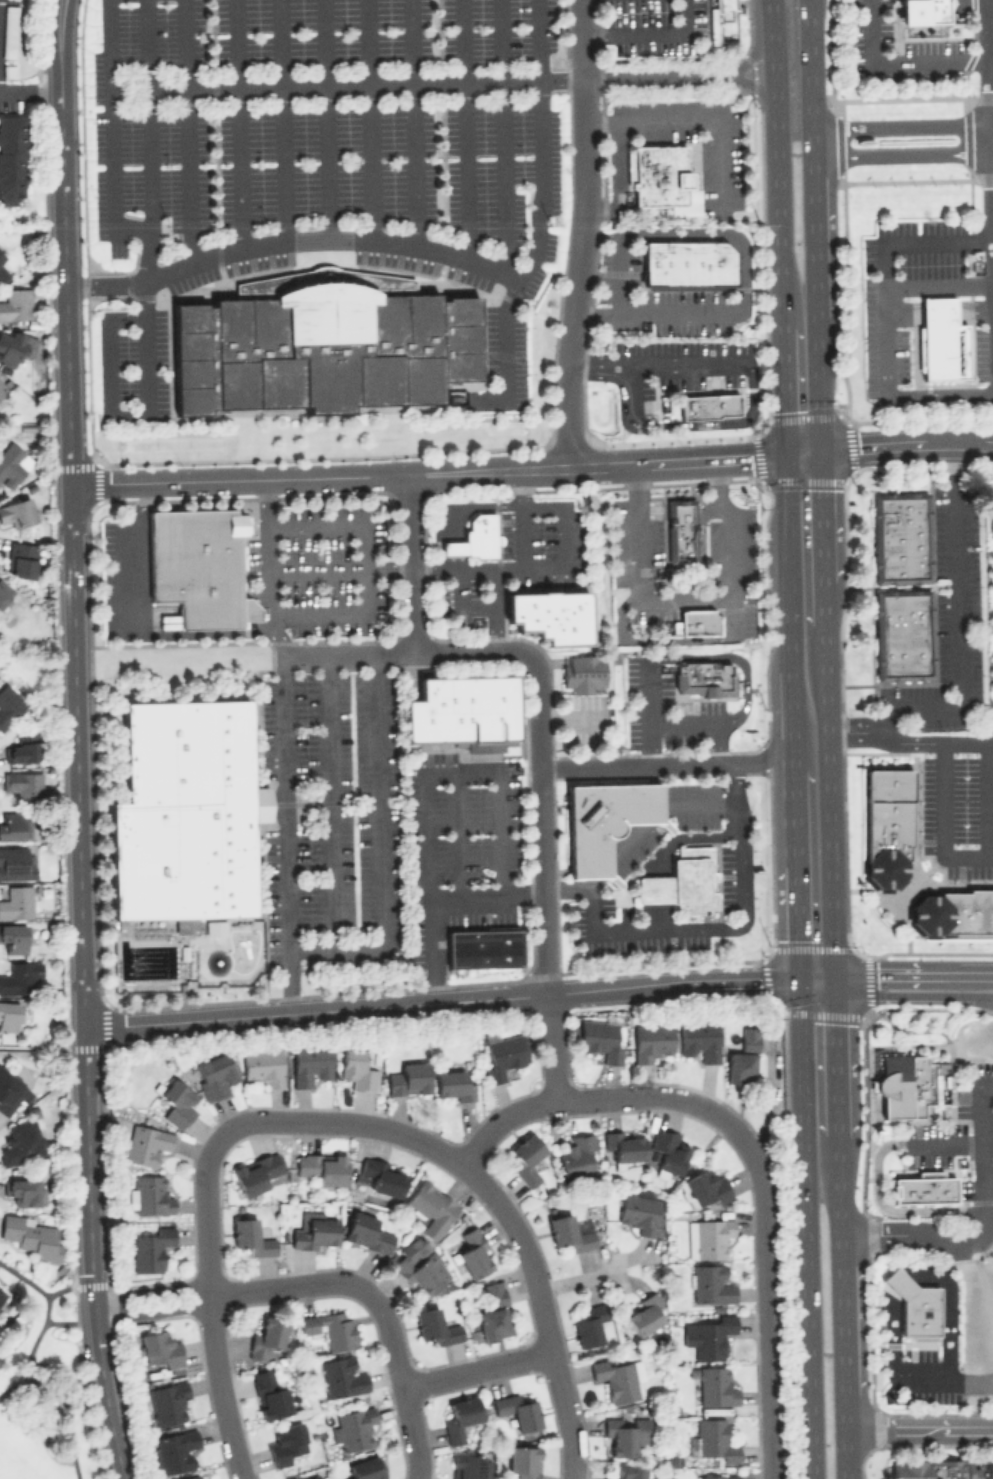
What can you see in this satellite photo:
building: (921, 11)
building: (723, 20)
building: (9, 32)
road: (648, 32)
road: (538, 40)
road: (409, 41)
road: (757, 47)
parking lot: (897, 49)
road: (902, 60)
road: (989, 62)
building: (8, 71)
road: (651, 78)
road: (810, 78)
road: (340, 84)
road: (29, 88)
road: (187, 92)
road: (763, 94)
road: (698, 118)
road: (281, 120)
road: (326, 120)
road: (370, 120)
road: (992, 123)
road: (238, 124)
road: (901, 126)
road: (465, 131)
parking lot: (328, 136)
road: (505, 137)
road: (903, 155)
road: (149, 158)
building: (12, 159)
road: (776, 163)
road: (413, 165)
road: (111, 174)
road: (615, 177)
building: (661, 178)
road: (991, 181)
road: (539, 182)
road: (583, 233)
road: (684, 234)
road: (814, 236)
road: (341, 241)
building: (1, 256)
building: (688, 263)
building: (1, 268)
road: (939, 283)
parking lot: (900, 287)
building: (15, 304)
road: (665, 312)
road: (885, 320)
building: (940, 339)
building: (321, 343)
building: (15, 347)
parking lot: (506, 348)
parking lot: (142, 366)
road: (656, 366)
road: (819, 383)
building: (2, 387)
road: (782, 391)
building: (709, 405)
road: (108, 415)
road: (907, 443)
traffic signals: (822, 451)
road: (803, 453)
traffic signals: (784, 455)
building: (12, 463)
road: (427, 472)
road: (139, 500)
road: (991, 507)
building: (16, 511)
building: (681, 533)
building: (475, 536)
building: (899, 537)
road: (564, 538)
building: (21, 559)
road: (410, 562)
road: (787, 562)
building: (198, 564)
road: (267, 567)
road: (361, 568)
road: (339, 570)
road: (517, 570)
road: (494, 588)
building: (4, 590)
road: (684, 599)
road: (480, 606)
building: (550, 614)
building: (696, 621)
road: (958, 624)
building: (902, 633)
road: (150, 634)
road: (475, 650)
road: (74, 651)
road: (348, 652)
road: (734, 659)
building: (582, 671)
building: (704, 677)
building: (9, 705)
building: (460, 708)
road: (649, 711)
road: (571, 715)
road: (792, 718)
road: (703, 722)
road: (911, 744)
building: (22, 748)
road: (677, 764)
building: (22, 784)
road: (427, 792)
road: (329, 799)
road: (986, 800)
road: (696, 803)
building: (184, 812)
road: (651, 813)
road: (793, 816)
building: (603, 820)
building: (886, 824)
road: (944, 824)
building: (13, 826)
road: (541, 827)
road: (289, 832)
road: (459, 835)
road: (684, 839)
road: (378, 841)
road: (626, 841)
building: (15, 862)
road: (601, 868)
building: (682, 881)
road: (570, 884)
road: (654, 888)
road: (488, 896)
building: (16, 902)
building: (954, 911)
road: (655, 915)
road: (795, 922)
road: (720, 925)
building: (12, 935)
building: (482, 948)
road: (835, 964)
road: (913, 971)
building: (20, 976)
road: (816, 980)
traffic signals: (836, 980)
traffic signals: (796, 981)
road: (913, 994)
road: (984, 998)
road: (440, 1000)
building: (8, 1015)
building: (600, 1039)
building: (699, 1039)
building: (651, 1040)
road: (45, 1044)
road: (551, 1045)
building: (502, 1054)
building: (742, 1057)
building: (309, 1064)
building: (263, 1065)
building: (357, 1069)
building: (214, 1075)
building: (408, 1078)
building: (912, 1083)
building: (452, 1085)
building: (12, 1091)
building: (178, 1101)
road: (980, 1127)
parking lot: (960, 1136)
road: (480, 1139)
road: (938, 1140)
building: (21, 1142)
building: (145, 1144)
building: (625, 1145)
building: (667, 1152)
building: (576, 1154)
building: (526, 1158)
building: (322, 1167)
building: (256, 1172)
building: (378, 1176)
building: (706, 1187)
building: (923, 1188)
building: (23, 1191)
building: (150, 1195)
building: (430, 1207)
road: (892, 1209)
building: (639, 1212)
building: (314, 1230)
road: (803, 1230)
building: (366, 1232)
building: (571, 1232)
building: (31, 1235)
building: (251, 1237)
building: (707, 1237)
road: (946, 1242)
building: (150, 1249)
building: (472, 1252)
building: (420, 1264)
road: (577, 1279)
building: (711, 1283)
road: (900, 1285)
road: (69, 1287)
road: (229, 1289)
building: (493, 1292)
building: (2, 1294)
building: (915, 1304)
road: (949, 1307)
road: (45, 1309)
road: (543, 1309)
road: (766, 1313)
building: (644, 1314)
road: (210, 1316)
road: (69, 1321)
building: (492, 1323)
building: (589, 1325)
building: (435, 1326)
building: (330, 1328)
building: (708, 1336)
building: (266, 1337)
road: (891, 1337)
building: (160, 1348)
road: (477, 1366)
building: (341, 1376)
parking lot: (922, 1377)
road: (402, 1379)
building: (615, 1379)
road: (925, 1382)
park: (42, 1383)
road: (971, 1383)
building: (715, 1386)
road: (105, 1391)
building: (269, 1394)
road: (63, 1402)
building: (168, 1403)
building: (516, 1411)
building: (459, 1418)
building: (352, 1427)
road: (920, 1428)
building: (625, 1433)
building: (714, 1440)
building: (285, 1442)
building: (173, 1450)
building: (522, 1461)
building: (470, 1466)
building: (364, 1469)
building: (933, 1469)
building: (627, 1471)
building: (190, 1477)
building: (317, 1477)
building: (718, 1477)
building: (291, 1478)

